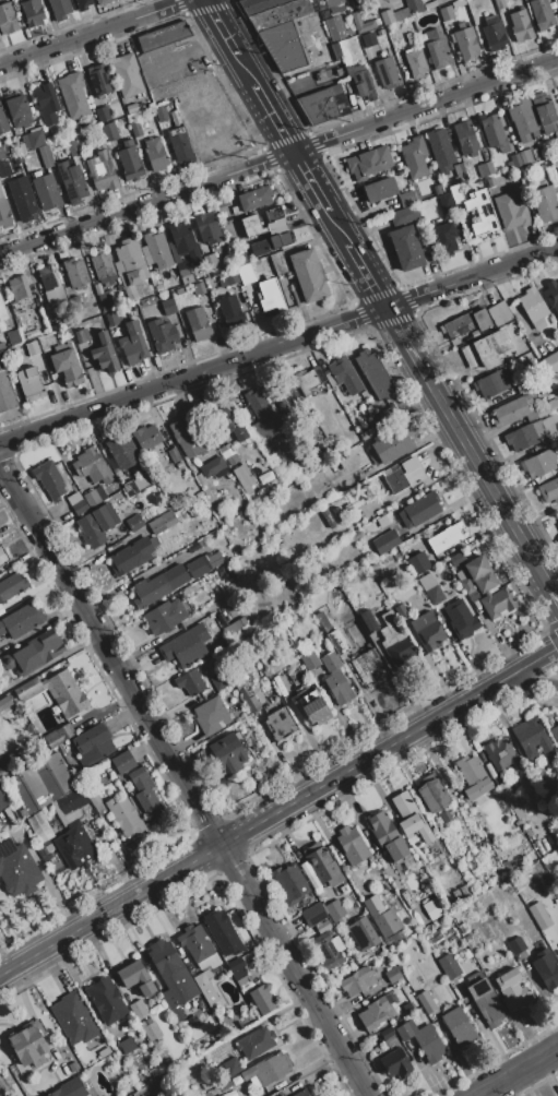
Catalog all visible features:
building: (357, 1)
building: (103, 2)
building: (458, 2)
building: (83, 4)
building: (429, 4)
building: (499, 4)
building: (258, 5)
building: (331, 5)
building: (414, 5)
building: (59, 9)
building: (32, 12)
building: (446, 12)
building: (541, 13)
building: (278, 14)
building: (400, 14)
building: (385, 15)
building: (7, 20)
building: (361, 23)
building: (520, 25)
building: (335, 28)
road: (94, 34)
building: (494, 34)
building: (163, 35)
road: (226, 36)
building: (411, 37)
building: (368, 39)
building: (465, 44)
building: (283, 46)
building: (323, 47)
building: (437, 48)
road: (185, 51)
building: (336, 51)
building: (415, 62)
building: (387, 73)
building: (126, 74)
building: (99, 80)
building: (361, 81)
building: (156, 92)
building: (73, 95)
building: (46, 104)
building: (318, 106)
building: (131, 108)
building: (17, 111)
road: (270, 111)
building: (544, 111)
building: (162, 112)
building: (102, 114)
building: (522, 119)
building: (2, 123)
building: (135, 129)
building: (557, 129)
building: (108, 131)
building: (494, 132)
building: (556, 134)
building: (465, 136)
building: (37, 138)
building: (179, 145)
building: (72, 147)
building: (4, 151)
building: (440, 151)
building: (538, 153)
building: (155, 154)
building: (45, 156)
road: (277, 156)
building: (415, 156)
building: (525, 156)
building: (129, 160)
building: (513, 162)
building: (368, 163)
building: (485, 168)
building: (4, 169)
building: (557, 170)
building: (102, 171)
building: (460, 171)
building: (23, 174)
building: (71, 181)
road: (309, 181)
building: (489, 181)
building: (380, 189)
building: (436, 189)
building: (46, 192)
building: (455, 193)
building: (254, 198)
building: (406, 199)
building: (22, 200)
building: (444, 201)
building: (545, 203)
building: (510, 211)
building: (480, 213)
building: (4, 214)
building: (404, 214)
building: (275, 221)
building: (252, 225)
building: (207, 228)
road: (337, 229)
building: (443, 239)
building: (183, 240)
building: (278, 240)
building: (405, 247)
building: (259, 248)
building: (157, 249)
building: (173, 251)
building: (145, 254)
building: (210, 261)
building: (278, 262)
building: (129, 263)
building: (103, 269)
building: (75, 272)
building: (183, 272)
building: (246, 273)
building: (308, 275)
building: (193, 276)
building: (154, 277)
road: (366, 277)
building: (228, 279)
building: (50, 286)
building: (97, 287)
building: (198, 287)
building: (22, 290)
building: (129, 294)
building: (270, 295)
building: (297, 297)
building: (551, 297)
building: (104, 298)
building: (149, 300)
building: (168, 306)
building: (229, 308)
building: (529, 311)
building: (498, 313)
building: (2, 314)
building: (114, 318)
building: (197, 323)
building: (465, 323)
building: (513, 329)
building: (91, 330)
road: (401, 334)
building: (82, 335)
building: (93, 335)
building: (162, 335)
building: (13, 337)
building: (132, 343)
road: (278, 346)
building: (32, 348)
building: (486, 349)
building: (104, 352)
building: (1, 359)
building: (550, 362)
building: (67, 366)
building: (373, 373)
building: (345, 374)
building: (308, 379)
building: (331, 379)
building: (29, 381)
building: (492, 382)
building: (521, 386)
building: (5, 392)
building: (285, 400)
building: (547, 407)
building: (513, 410)
building: (260, 414)
building: (390, 414)
building: (227, 417)
building: (556, 425)
building: (550, 427)
building: (538, 429)
building: (239, 433)
building: (366, 434)
building: (186, 436)
building: (145, 438)
building: (166, 438)
building: (521, 438)
building: (391, 445)
building: (269, 446)
building: (121, 451)
building: (174, 454)
building: (229, 454)
building: (538, 463)
building: (178, 465)
building: (92, 466)
building: (213, 467)
road: (482, 473)
building: (404, 475)
building: (242, 477)
building: (200, 478)
building: (49, 479)
building: (141, 483)
building: (130, 488)
building: (110, 490)
building: (549, 490)
building: (94, 497)
building: (73, 499)
building: (119, 502)
building: (79, 508)
building: (419, 509)
building: (336, 512)
building: (378, 512)
building: (185, 513)
building: (104, 516)
building: (167, 519)
building: (328, 519)
building: (382, 521)
building: (134, 522)
building: (557, 522)
building: (155, 525)
building: (90, 531)
building: (446, 538)
building: (153, 540)
building: (384, 541)
building: (195, 545)
building: (2, 556)
building: (131, 556)
building: (456, 559)
building: (211, 560)
building: (417, 563)
building: (476, 567)
building: (195, 569)
building: (460, 575)
building: (426, 581)
building: (11, 585)
building: (158, 585)
building: (465, 585)
road: (551, 593)
building: (434, 594)
building: (472, 596)
building: (494, 597)
building: (401, 610)
building: (165, 616)
building: (222, 619)
building: (460, 619)
building: (21, 620)
building: (368, 620)
building: (237, 629)
building: (426, 631)
building: (212, 634)
building: (395, 641)
building: (185, 645)
building: (340, 645)
building: (32, 653)
building: (309, 660)
building: (368, 667)
building: (335, 679)
building: (219, 681)
road: (527, 681)
building: (189, 682)
building: (55, 692)
building: (250, 701)
building: (4, 703)
building: (310, 705)
building: (55, 710)
building: (211, 715)
building: (281, 724)
building: (555, 734)
building: (58, 735)
building: (533, 740)
building: (93, 743)
building: (228, 753)
building: (501, 754)
building: (122, 762)
building: (52, 775)
building: (472, 776)
road: (182, 781)
building: (29, 789)
building: (507, 793)
building: (146, 795)
building: (93, 796)
building: (431, 796)
building: (72, 800)
building: (2, 803)
building: (403, 805)
road: (277, 811)
building: (519, 813)
building: (123, 815)
building: (446, 815)
building: (39, 826)
building: (381, 827)
building: (415, 827)
building: (74, 845)
building: (352, 845)
building: (396, 850)
building: (408, 862)
building: (322, 865)
building: (17, 868)
building: (309, 874)
building: (292, 883)
building: (344, 889)
building: (464, 891)
building: (373, 906)
building: (434, 908)
building: (335, 910)
building: (312, 915)
building: (539, 915)
building: (387, 922)
building: (322, 927)
building: (361, 927)
building: (462, 928)
building: (222, 932)
building: (468, 939)
building: (336, 943)
building: (517, 944)
building: (198, 946)
building: (327, 951)
building: (235, 964)
building: (448, 966)
building: (546, 968)
building: (239, 973)
building: (171, 974)
building: (389, 977)
building: (135, 978)
building: (356, 981)
building: (205, 987)
building: (512, 989)
building: (261, 999)
building: (106, 1000)
building: (486, 1001)
building: (426, 1002)
building: (408, 1008)
building: (138, 1010)
building: (373, 1012)
building: (177, 1015)
building: (73, 1018)
building: (238, 1025)
building: (459, 1026)
building: (39, 1027)
building: (150, 1029)
building: (406, 1029)
building: (391, 1038)
building: (256, 1043)
building: (24, 1044)
building: (428, 1044)
building: (128, 1045)
building: (104, 1052)
building: (395, 1063)
building: (231, 1067)
building: (268, 1069)
building: (62, 1071)
road: (517, 1071)
building: (116, 1075)
building: (236, 1081)
building: (223, 1083)
building: (205, 1084)
building: (69, 1088)
building: (230, 1093)
building: (301, 1093)
building: (206, 1094)
building: (221, 1095)
building: (273, 1095)
building: (280, 1095)

